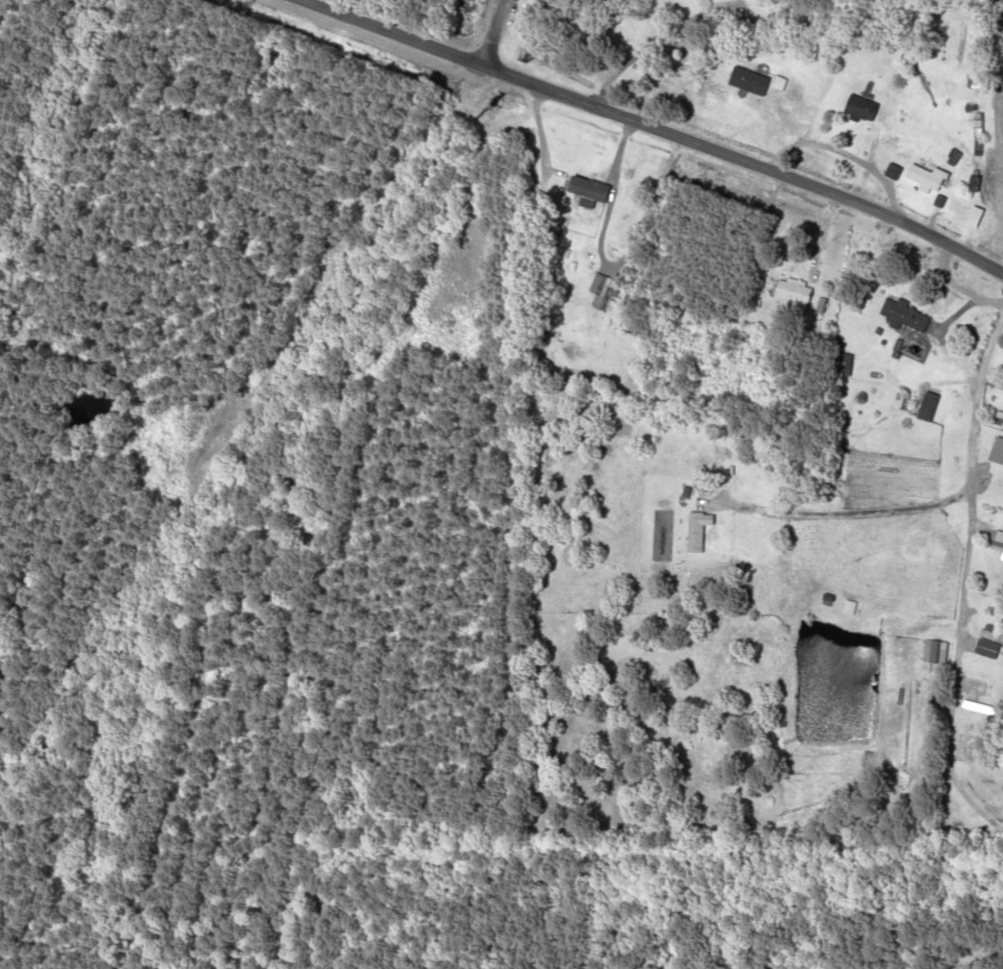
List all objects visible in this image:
building: (796, 13)
road: (491, 32)
building: (860, 109)
road: (655, 129)
building: (926, 178)
building: (587, 191)
building: (975, 217)
building: (604, 286)
building: (794, 291)
building: (906, 315)
building: (845, 364)
building: (928, 406)
building: (997, 450)
building: (828, 487)
building: (698, 530)
building: (999, 541)
building: (1002, 559)
road: (964, 580)
building: (989, 643)
building: (935, 652)

